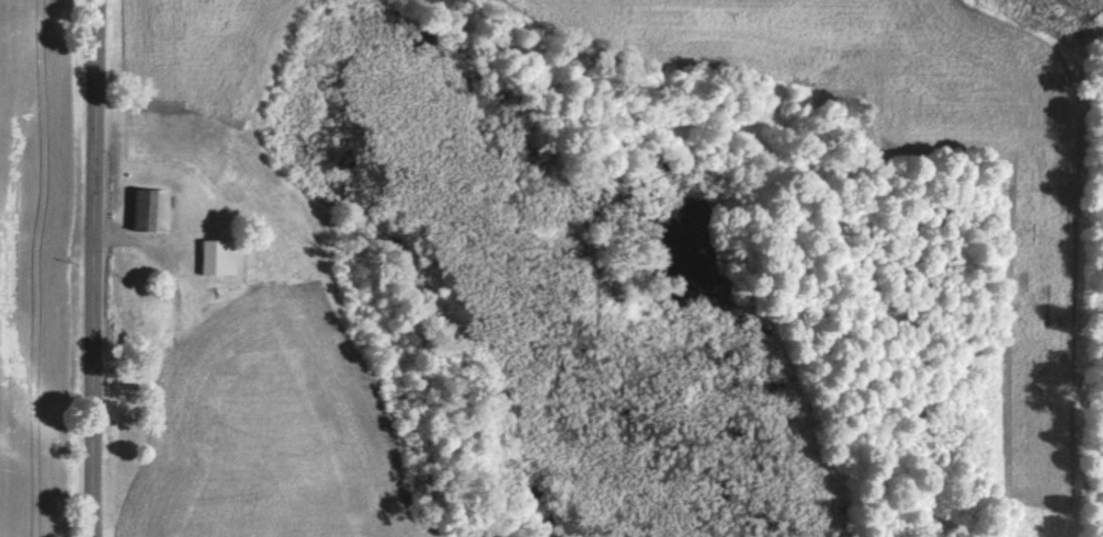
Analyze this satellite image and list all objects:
building: (146, 209)
building: (208, 256)
road: (91, 268)
building: (149, 322)

